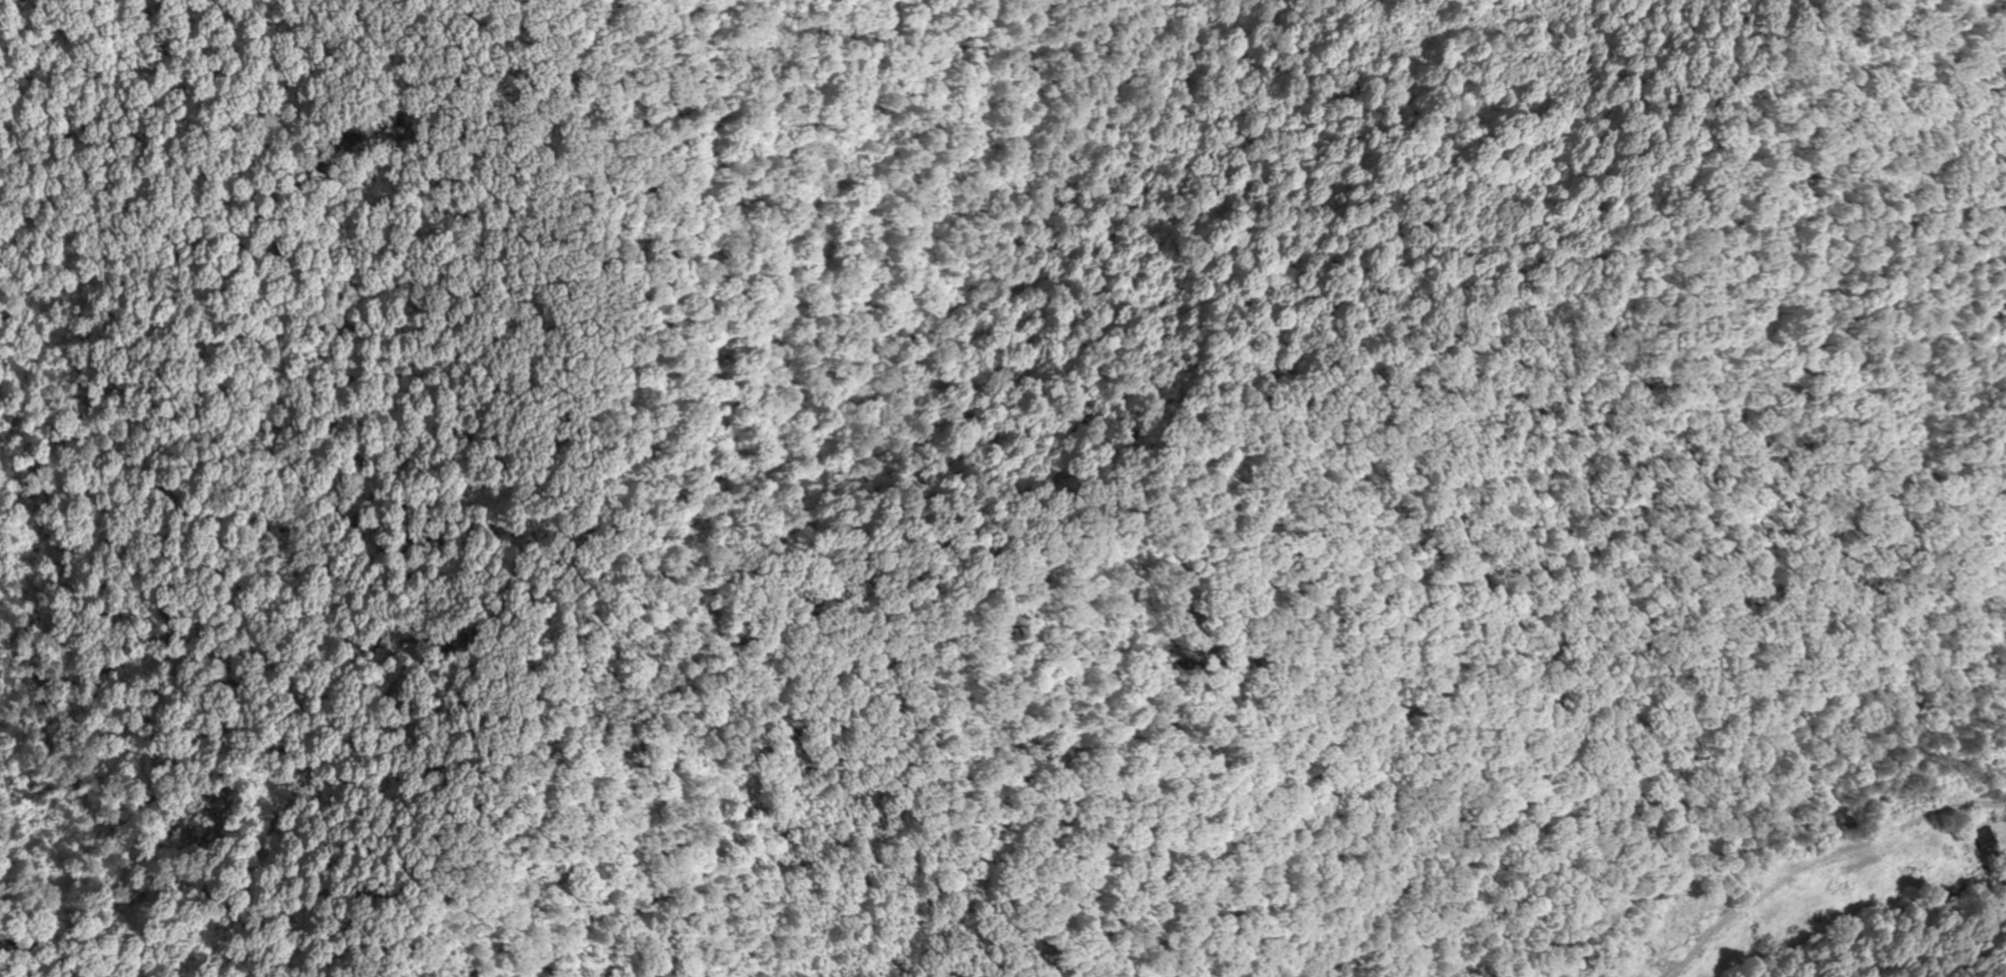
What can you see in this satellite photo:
road: (1884, 817)
building: (1986, 840)

